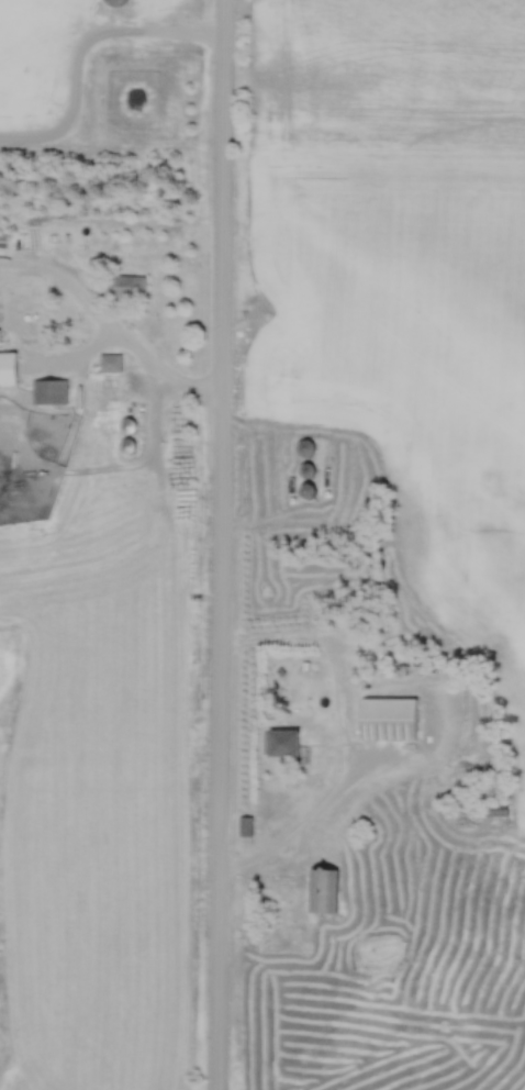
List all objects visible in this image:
building: (4, 241)
building: (136, 286)
building: (9, 365)
road: (153, 368)
building: (51, 392)
building: (132, 403)
building: (306, 448)
building: (312, 492)
road: (216, 544)
building: (393, 719)
road: (344, 736)
building: (286, 743)
building: (322, 891)

